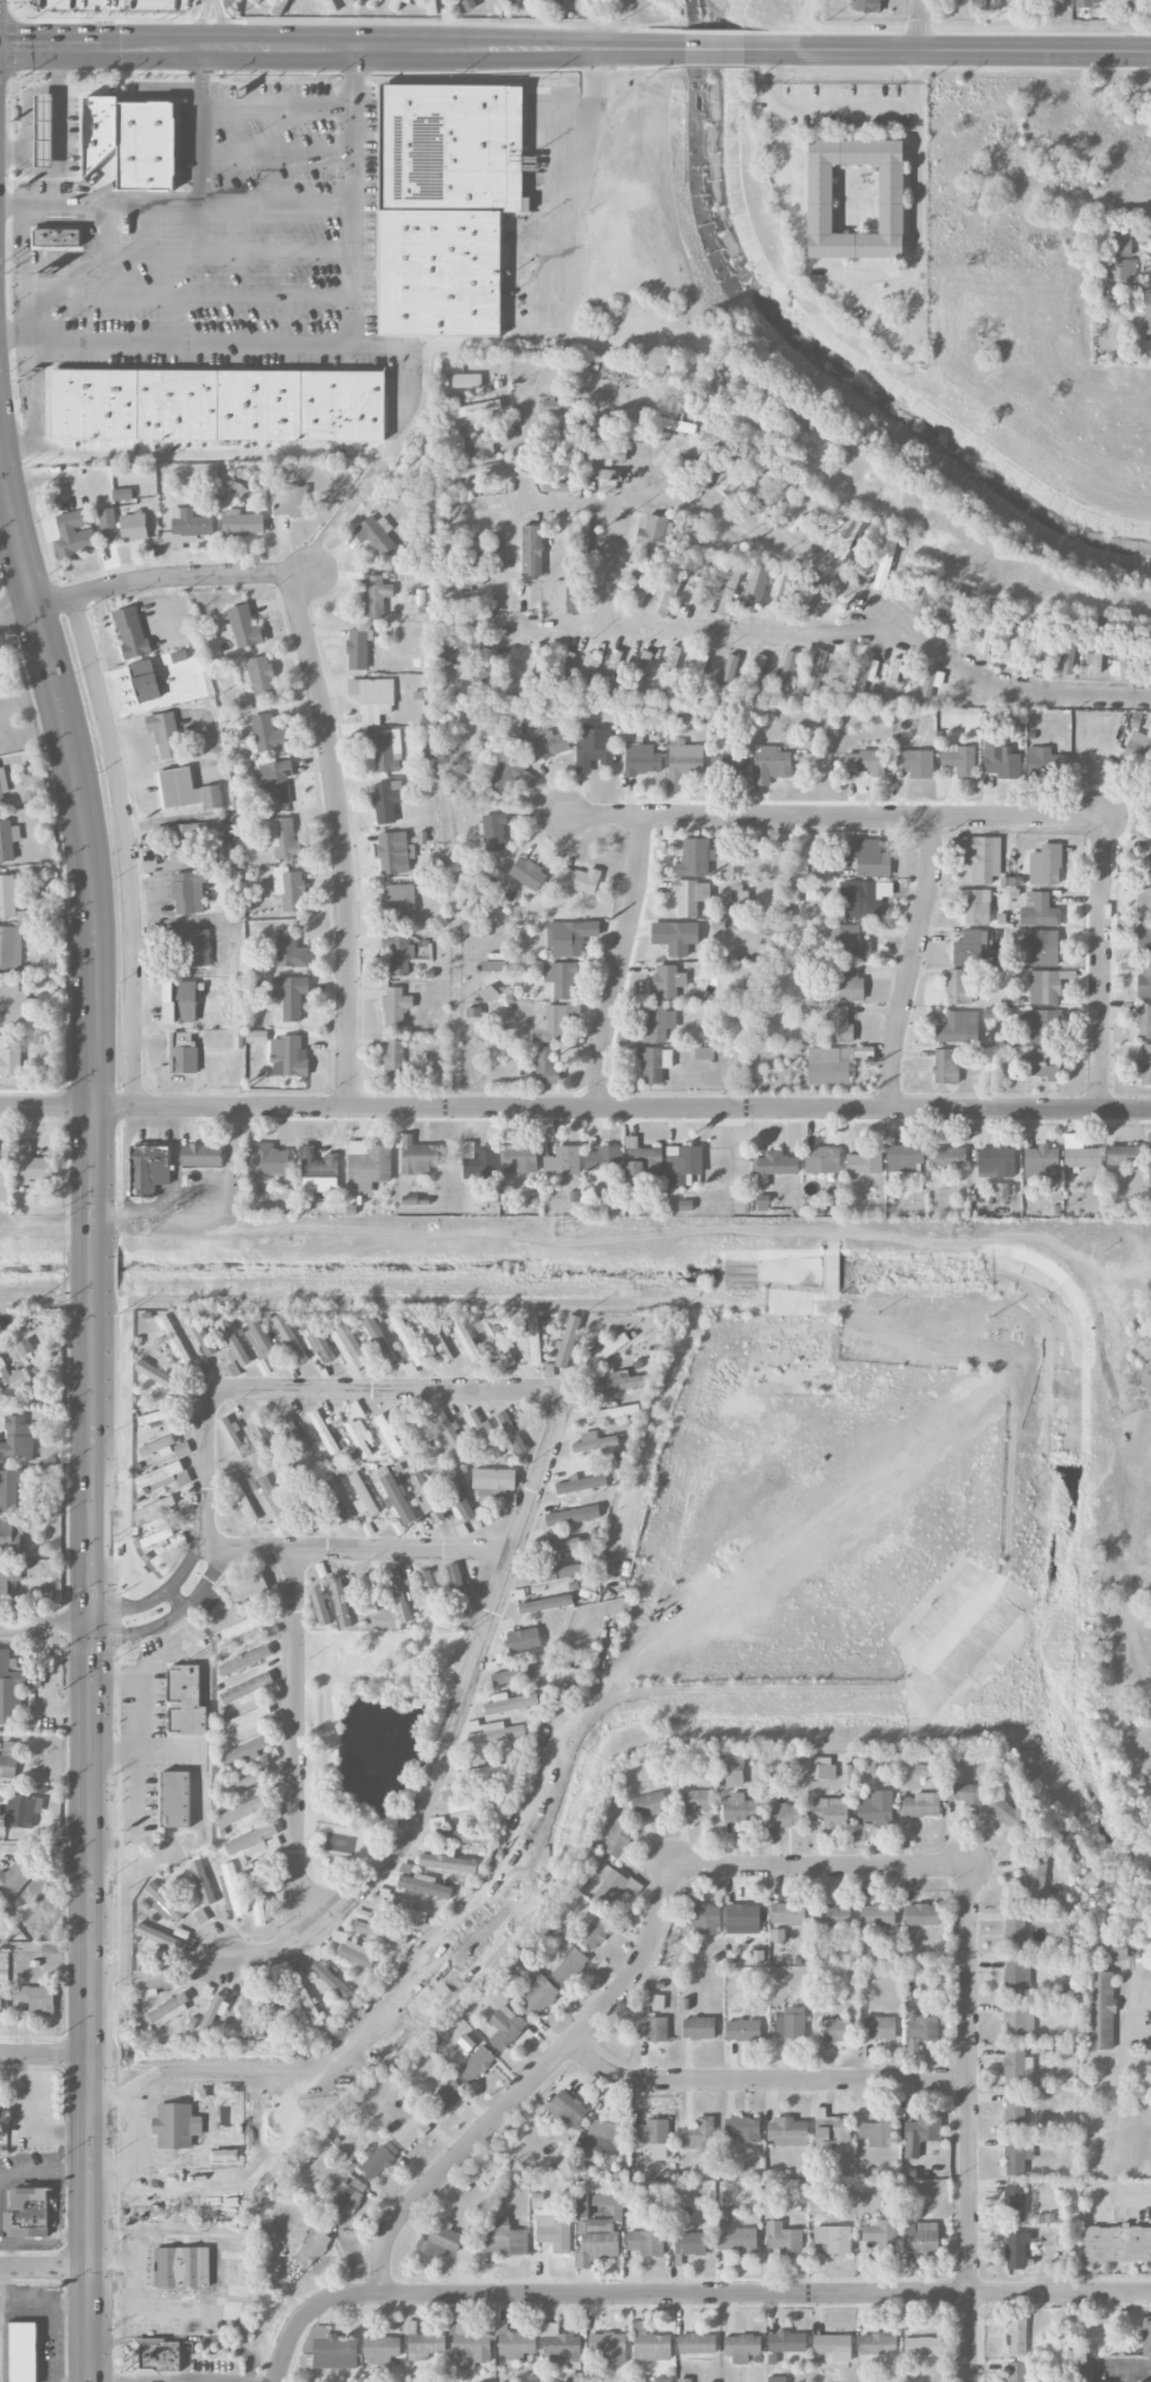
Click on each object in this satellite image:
building: (407, 0)
building: (512, 1)
building: (592, 1)
building: (1087, 4)
building: (468, 5)
building: (558, 5)
building: (330, 6)
building: (865, 6)
building: (280, 7)
building: (431, 7)
road: (207, 23)
road: (229, 23)
road: (920, 26)
road: (103, 46)
road: (280, 47)
road: (473, 47)
road: (639, 49)
road: (715, 50)
road: (947, 51)
road: (917, 77)
road: (27, 104)
road: (279, 106)
road: (351, 121)
road: (205, 122)
building: (44, 129)
gas station: (44, 129)
building: (100, 129)
road: (915, 134)
road: (60, 152)
road: (277, 154)
road: (261, 197)
building: (856, 198)
road: (11, 200)
building: (446, 204)
building: (56, 238)
building: (1123, 243)
road: (262, 244)
road: (140, 245)
road: (108, 247)
road: (68, 262)
road: (27, 269)
road: (172, 269)
building: (1121, 275)
road: (101, 296)
road: (263, 298)
building: (1147, 313)
road: (17, 337)
road: (230, 341)
road: (545, 376)
building: (467, 381)
building: (217, 403)
building: (562, 407)
building: (474, 409)
road: (421, 413)
building: (672, 420)
building: (605, 423)
building: (482, 445)
building: (594, 453)
building: (702, 456)
building: (477, 471)
building: (601, 473)
building: (558, 485)
building: (754, 486)
building: (122, 494)
building: (293, 502)
building: (475, 505)
road: (344, 513)
building: (242, 523)
building: (108, 526)
building: (133, 526)
building: (188, 526)
building: (73, 535)
building: (377, 535)
building: (583, 536)
building: (654, 536)
building: (857, 543)
building: (475, 548)
building: (531, 550)
building: (884, 564)
road: (143, 579)
building: (756, 581)
road: (843, 581)
building: (702, 583)
building: (729, 589)
building: (786, 590)
building: (670, 592)
building: (922, 594)
building: (376, 595)
building: (567, 596)
building: (465, 609)
building: (957, 612)
building: (244, 627)
road: (710, 630)
building: (132, 632)
building: (987, 632)
building: (1040, 639)
building: (1126, 641)
building: (1098, 646)
building: (1149, 646)
building: (1011, 647)
building: (358, 649)
building: (1068, 651)
building: (699, 665)
building: (589, 666)
building: (552, 669)
building: (670, 669)
building: (610, 670)
building: (757, 670)
building: (788, 670)
building: (818, 670)
building: (471, 671)
building: (729, 672)
building: (639, 673)
building: (864, 675)
building: (260, 677)
building: (893, 679)
building: (145, 681)
building: (929, 684)
building: (372, 698)
building: (165, 734)
building: (268, 734)
building: (550, 745)
building: (1139, 746)
building: (593, 747)
building: (382, 748)
building: (642, 760)
building: (959, 760)
building: (1000, 760)
building: (683, 762)
building: (864, 764)
building: (919, 764)
building: (733, 765)
building: (770, 765)
building: (505, 775)
building: (274, 780)
building: (2, 786)
building: (186, 791)
building: (1150, 791)
building: (386, 800)
building: (244, 804)
road: (833, 819)
building: (493, 831)
building: (282, 838)
road: (339, 838)
building: (8, 841)
building: (185, 841)
road: (126, 847)
building: (1150, 851)
building: (395, 852)
building: (980, 857)
building: (695, 858)
building: (870, 858)
building: (1046, 866)
building: (527, 874)
building: (580, 880)
building: (188, 892)
building: (290, 892)
building: (11, 895)
building: (1144, 895)
building: (691, 896)
building: (738, 896)
building: (864, 898)
building: (399, 901)
building: (974, 906)
building: (1042, 909)
building: (439, 921)
building: (469, 926)
building: (570, 937)
building: (676, 937)
building: (849, 943)
building: (196, 947)
building: (1042, 947)
building: (11, 949)
building: (968, 949)
building: (290, 950)
building: (399, 954)
road: (618, 963)
road: (912, 965)
road: (1101, 965)
building: (561, 979)
building: (669, 981)
building: (1144, 982)
building: (850, 983)
building: (958, 988)
building: (1044, 988)
building: (290, 995)
building: (179, 1002)
building: (12, 1004)
building: (396, 1007)
building: (1144, 1021)
building: (555, 1023)
building: (658, 1024)
building: (839, 1024)
building: (957, 1027)
building: (1043, 1027)
building: (184, 1053)
building: (9, 1055)
building: (288, 1056)
building: (704, 1056)
building: (395, 1059)
building: (653, 1064)
building: (1040, 1065)
building: (545, 1066)
building: (829, 1066)
building: (1144, 1066)
building: (945, 1067)
road: (575, 1109)
building: (1081, 1154)
building: (1150, 1154)
building: (202, 1155)
building: (1119, 1155)
building: (416, 1156)
building: (519, 1156)
building: (904, 1157)
building: (946, 1157)
building: (4, 1158)
building: (603, 1158)
building: (642, 1160)
building: (823, 1160)
building: (267, 1161)
building: (563, 1161)
building: (865, 1162)
building: (683, 1163)
building: (996, 1163)
building: (1042, 1163)
building: (30, 1164)
building: (480, 1164)
building: (774, 1164)
building: (318, 1166)
building: (367, 1166)
building: (149, 1169)
road: (229, 1182)
building: (1003, 1189)
road: (183, 1206)
power tower: (138, 1228)
power tower: (563, 1230)
power tower: (955, 1232)
building: (203, 1336)
building: (289, 1339)
building: (436, 1339)
building: (465, 1339)
building: (533, 1340)
building: (173, 1341)
building: (408, 1341)
building: (568, 1341)
building: (261, 1342)
building: (498, 1342)
building: (232, 1343)
building: (379, 1343)
building: (347, 1345)
building: (24, 1347)
building: (608, 1347)
building: (263, 1368)
building: (234, 1369)
building: (410, 1369)
building: (13, 1378)
building: (160, 1379)
building: (619, 1381)
building: (613, 1413)
road: (94, 1417)
building: (153, 1417)
building: (394, 1418)
building: (422, 1431)
building: (324, 1432)
building: (511, 1432)
building: (388, 1433)
building: (482, 1435)
building: (262, 1436)
building: (295, 1437)
building: (360, 1437)
building: (17, 1438)
building: (234, 1438)
building: (453, 1438)
building: (595, 1442)
building: (155, 1448)
building: (183, 1448)
building: (164, 1476)
building: (495, 1484)
building: (581, 1484)
building: (295, 1488)
road: (537, 1488)
building: (9, 1489)
building: (362, 1495)
building: (268, 1496)
building: (426, 1496)
building: (397, 1499)
building: (458, 1499)
building: (334, 1501)
building: (242, 1502)
building: (155, 1509)
building: (283, 1515)
building: (573, 1515)
building: (11, 1535)
building: (155, 1538)
building: (562, 1544)
road: (288, 1550)
building: (556, 1573)
building: (8, 1578)
building: (251, 1589)
building: (367, 1594)
building: (399, 1596)
building: (447, 1597)
building: (340, 1602)
building: (545, 1604)
building: (319, 1605)
road: (46, 1627)
traffic signals: (94, 1628)
building: (244, 1629)
building: (523, 1639)
building: (245, 1660)
building: (518, 1674)
building: (12, 1690)
building: (247, 1690)
road: (141, 1692)
building: (185, 1700)
building: (510, 1704)
building: (245, 1720)
building: (499, 1732)
road: (296, 1743)
road: (114, 1748)
building: (244, 1751)
building: (8, 1760)
building: (461, 1762)
building: (821, 1768)
building: (734, 1771)
building: (482, 1773)
building: (244, 1782)
road: (136, 1793)
building: (965, 1794)
building: (175, 1800)
building: (696, 1800)
building: (648, 1803)
building: (921, 1805)
building: (740, 1808)
building: (23, 1811)
building: (875, 1812)
building: (243, 1813)
building: (1008, 1813)
building: (785, 1815)
building: (826, 1816)
building: (458, 1837)
building: (616, 1839)
building: (254, 1841)
building: (447, 1860)
road: (820, 1866)
building: (14, 1878)
building: (1034, 1879)
building: (202, 1883)
building: (613, 1884)
building: (424, 1885)
building: (232, 1888)
building: (258, 1898)
building: (165, 1903)
building: (403, 1908)
building: (878, 1915)
building: (922, 1915)
building: (835, 1916)
building: (742, 1918)
building: (703, 1920)
building: (596, 1929)
building: (383, 1930)
building: (1015, 1930)
building: (156, 1936)
building: (1114, 1949)
building: (357, 1954)
building: (569, 1965)
building: (154, 1979)
building: (1015, 1979)
building: (332, 1981)
building: (537, 1992)
building: (0, 1998)
building: (38, 2000)
building: (275, 2004)
building: (170, 2010)
building: (215, 2011)
building: (1100, 2011)
building: (250, 2012)
building: (1018, 2022)
building: (792, 2024)
building: (505, 2027)
building: (698, 2027)
building: (878, 2027)
building: (652, 2029)
road: (1144, 2029)
building: (743, 2030)
building: (835, 2031)
building: (921, 2031)
road: (45, 2054)
building: (477, 2063)
building: (1015, 2067)
road: (762, 2083)
road: (530, 2086)
building: (446, 2096)
building: (0, 2106)
building: (567, 2108)
building: (1015, 2110)
road: (34, 2120)
road: (966, 2125)
building: (175, 2126)
building: (414, 2128)
building: (742, 2129)
building: (831, 2129)
building: (786, 2132)
building: (877, 2132)
building: (651, 2133)
building: (699, 2134)
building: (920, 2135)
building: (602, 2139)
building: (1018, 2154)
building: (379, 2159)
road: (46, 2173)
building: (350, 2197)
building: (1015, 2202)
building: (582, 2204)
building: (608, 2204)
building: (26, 2214)
building: (554, 2231)
building: (878, 2233)
road: (56, 2235)
road: (73, 2236)
building: (922, 2237)
building: (440, 2239)
building: (505, 2239)
building: (782, 2239)
building: (737, 2240)
building: (832, 2240)
building: (596, 2242)
building: (646, 2242)
building: (690, 2243)
building: (1117, 2243)
building: (313, 2249)
building: (1016, 2249)
road: (12, 2255)
road: (113, 2266)
road: (46, 2268)
building: (181, 2268)
road: (234, 2279)
road: (4, 2287)
road: (689, 2294)
road: (47, 2300)
building: (1016, 2336)
road: (186, 2338)
building: (1146, 2338)
building: (514, 2342)
building: (787, 2342)
building: (423, 2343)
building: (697, 2343)
building: (559, 2344)
building: (877, 2344)
building: (468, 2345)
building: (651, 2345)
building: (833, 2346)
building: (922, 2346)
building: (608, 2348)
building: (742, 2348)
building: (328, 2350)
building: (381, 2350)
building: (23, 2352)
building: (158, 2355)
building: (1016, 2371)
building: (778, 2380)

